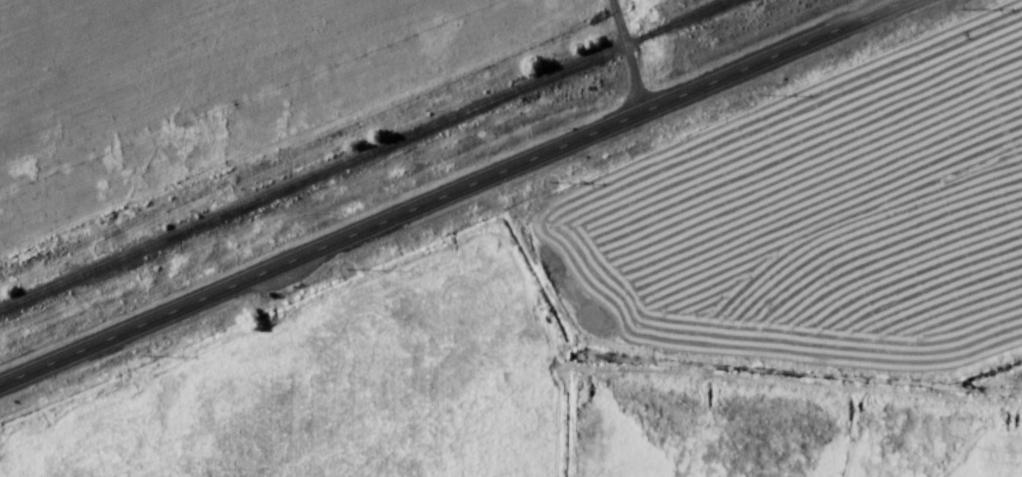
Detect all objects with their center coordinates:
railway: (681, 22)
road: (631, 56)
railway: (314, 177)
road: (459, 193)

